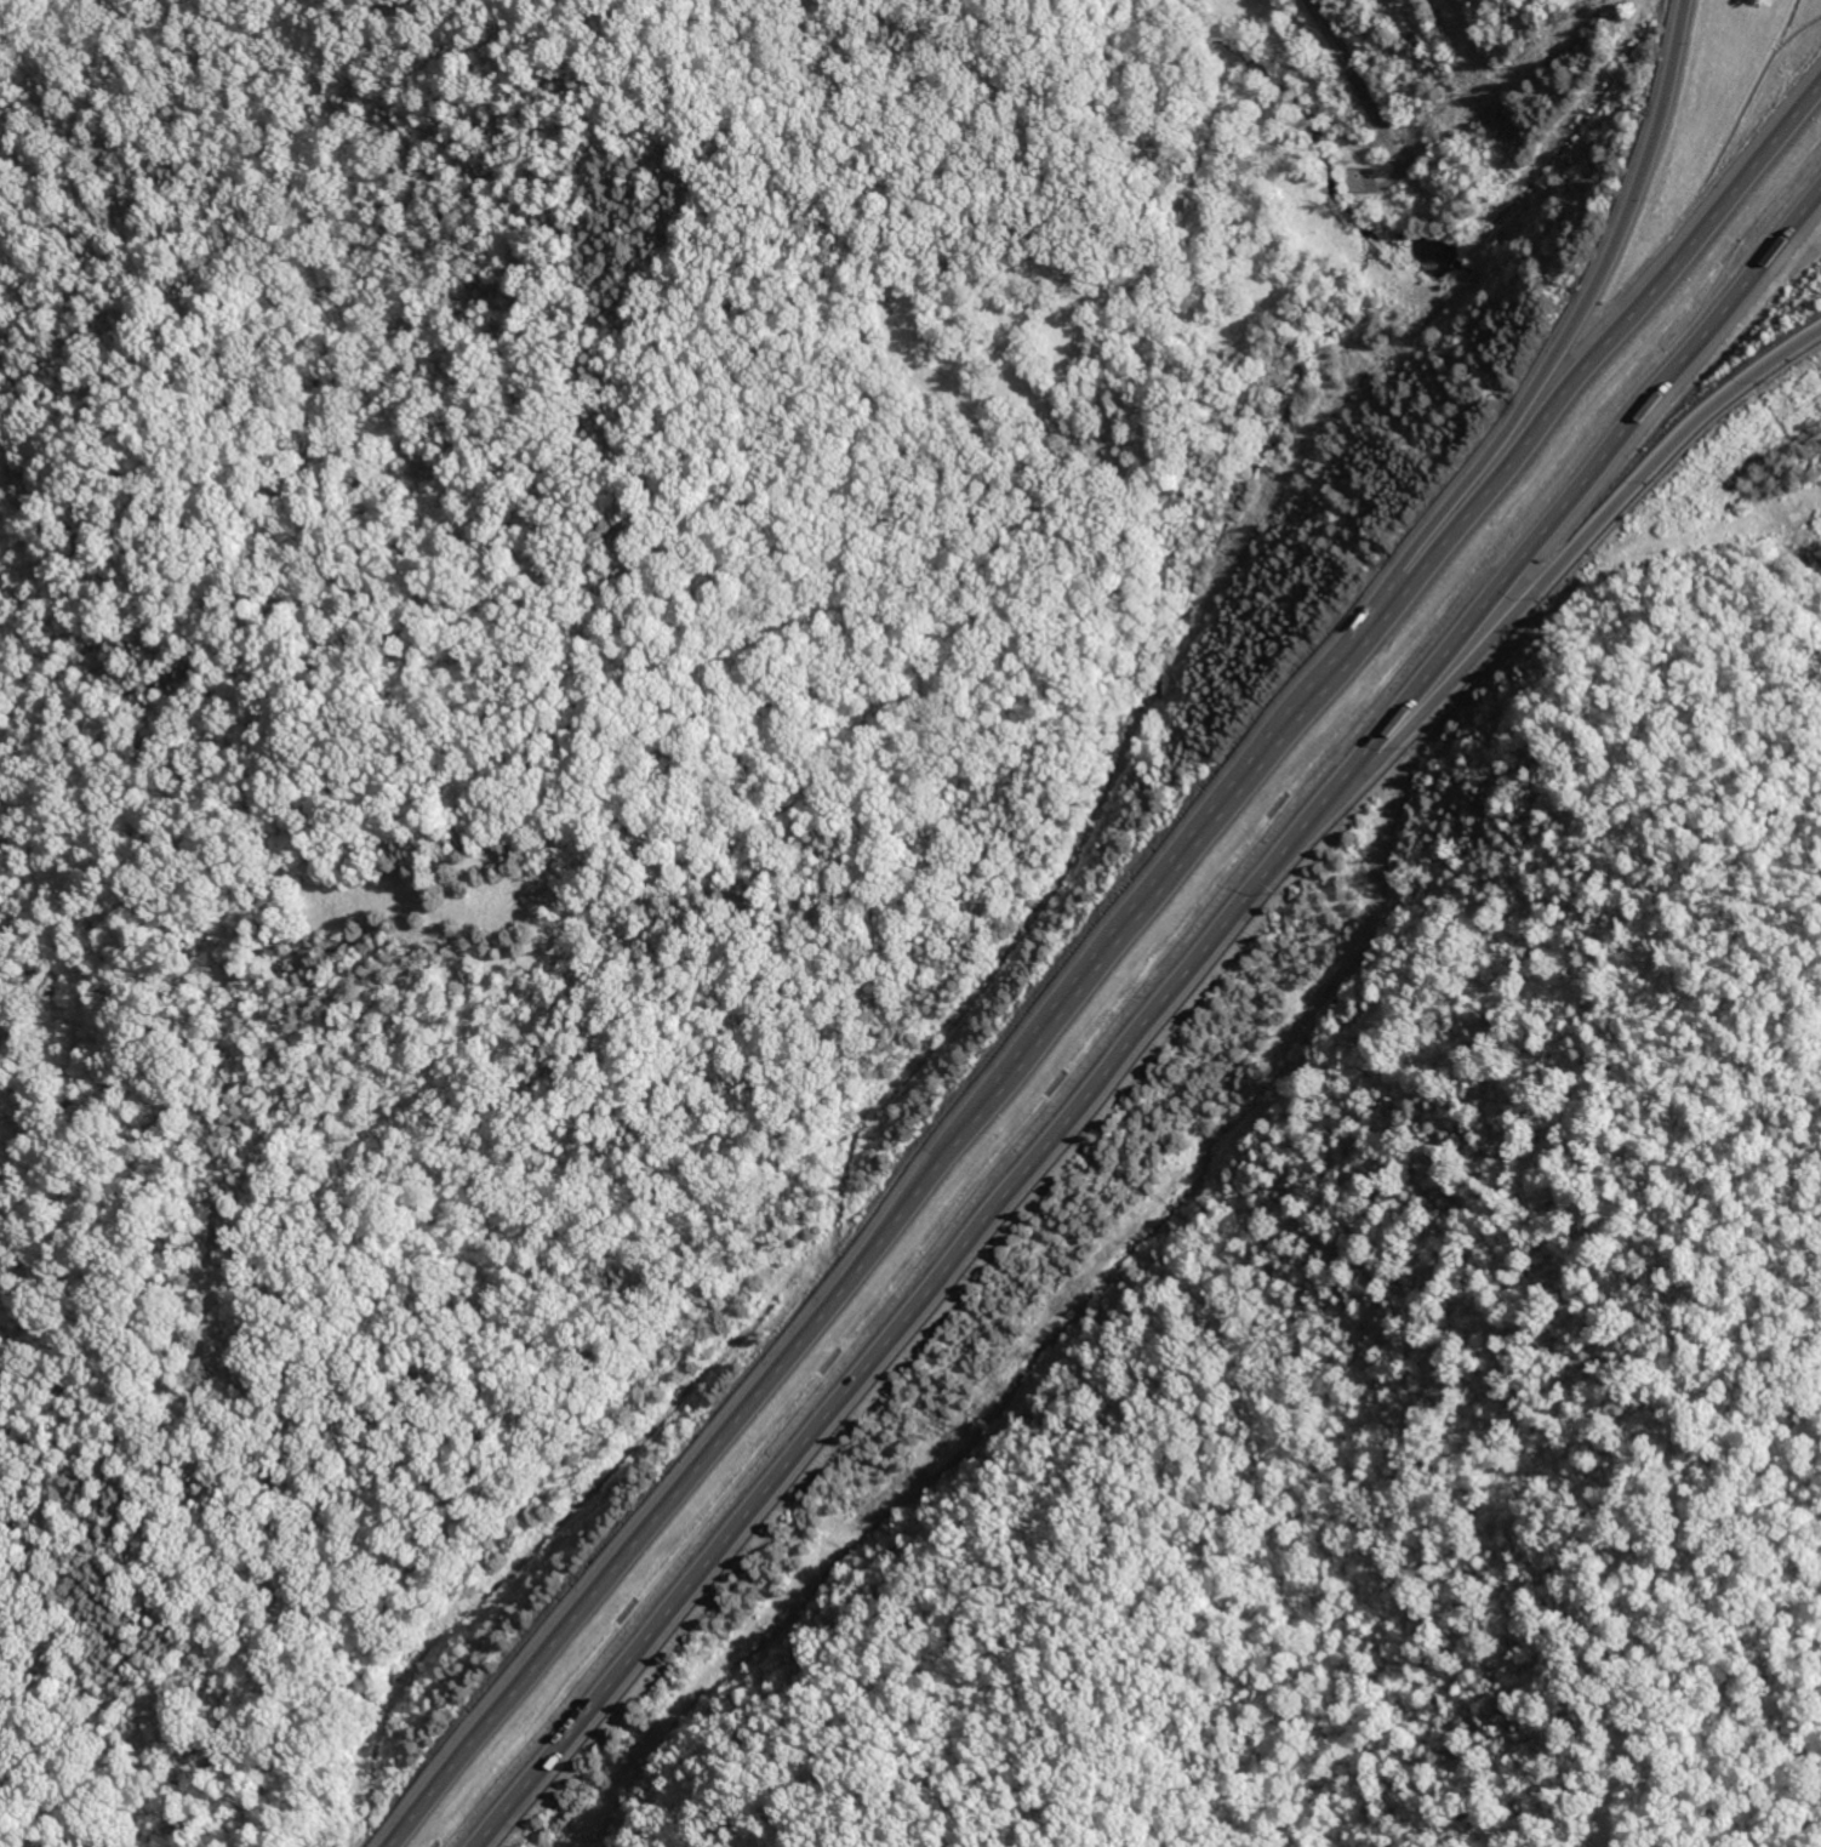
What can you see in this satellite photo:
road: (1337, 56)
road: (1462, 497)
road: (1820, 530)
road: (1415, 720)
road: (1103, 965)
road: (1152, 1024)

